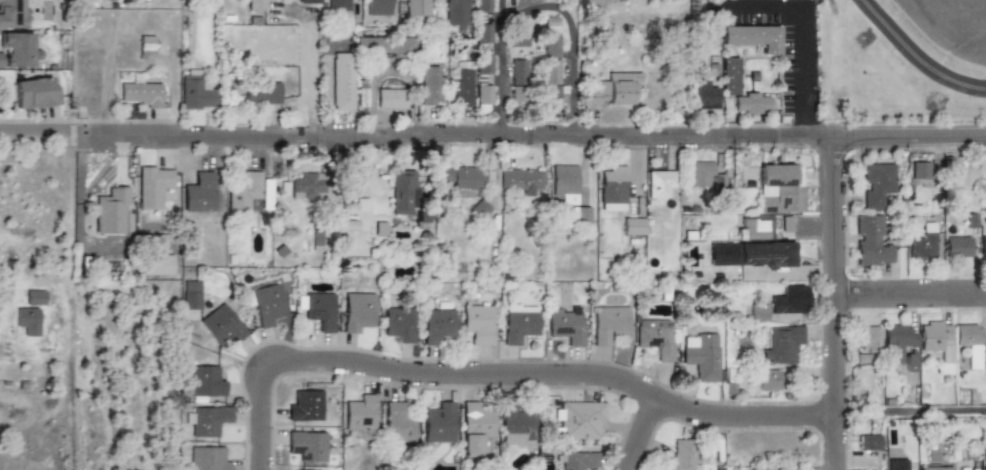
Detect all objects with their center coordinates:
building: (307, 1)
building: (256, 5)
building: (337, 5)
building: (481, 6)
building: (377, 7)
building: (416, 7)
building: (454, 12)
building: (13, 14)
road: (800, 29)
building: (756, 32)
building: (481, 33)
road: (567, 39)
building: (517, 40)
building: (547, 45)
building: (385, 46)
building: (19, 51)
road: (915, 57)
road: (309, 60)
road: (107, 68)
road: (499, 68)
building: (515, 72)
building: (734, 73)
building: (340, 82)
building: (480, 82)
building: (427, 85)
building: (548, 85)
building: (458, 88)
building: (195, 91)
building: (608, 91)
building: (38, 93)
building: (260, 93)
building: (141, 94)
building: (703, 95)
building: (514, 96)
building: (389, 98)
building: (756, 102)
road: (32, 129)
road: (74, 133)
road: (535, 137)
building: (920, 170)
building: (701, 175)
building: (456, 178)
building: (517, 180)
building: (561, 183)
building: (876, 183)
building: (657, 184)
building: (152, 186)
building: (306, 186)
building: (610, 189)
building: (778, 189)
building: (398, 192)
building: (199, 193)
building: (247, 193)
road: (78, 211)
building: (111, 211)
building: (578, 215)
building: (783, 224)
building: (631, 226)
building: (749, 229)
building: (870, 241)
building: (923, 242)
building: (984, 245)
building: (958, 246)
building: (761, 254)
building: (157, 265)
road: (910, 294)
building: (36, 297)
building: (191, 300)
road: (835, 303)
building: (267, 304)
building: (772, 306)
building: (317, 308)
building: (357, 311)
building: (28, 320)
building: (518, 322)
building: (609, 322)
building: (399, 323)
building: (477, 323)
building: (565, 323)
building: (221, 324)
building: (435, 324)
building: (655, 337)
building: (867, 338)
building: (897, 342)
building: (781, 344)
building: (937, 344)
building: (970, 344)
building: (701, 355)
building: (910, 363)
road: (503, 374)
building: (768, 380)
building: (205, 382)
building: (306, 405)
building: (361, 412)
road: (910, 413)
building: (515, 417)
building: (207, 419)
building: (398, 420)
building: (581, 420)
building: (439, 423)
building: (476, 424)
road: (643, 433)
building: (869, 442)
building: (308, 446)
building: (683, 455)
building: (208, 459)
building: (984, 459)
building: (579, 461)
building: (934, 468)

